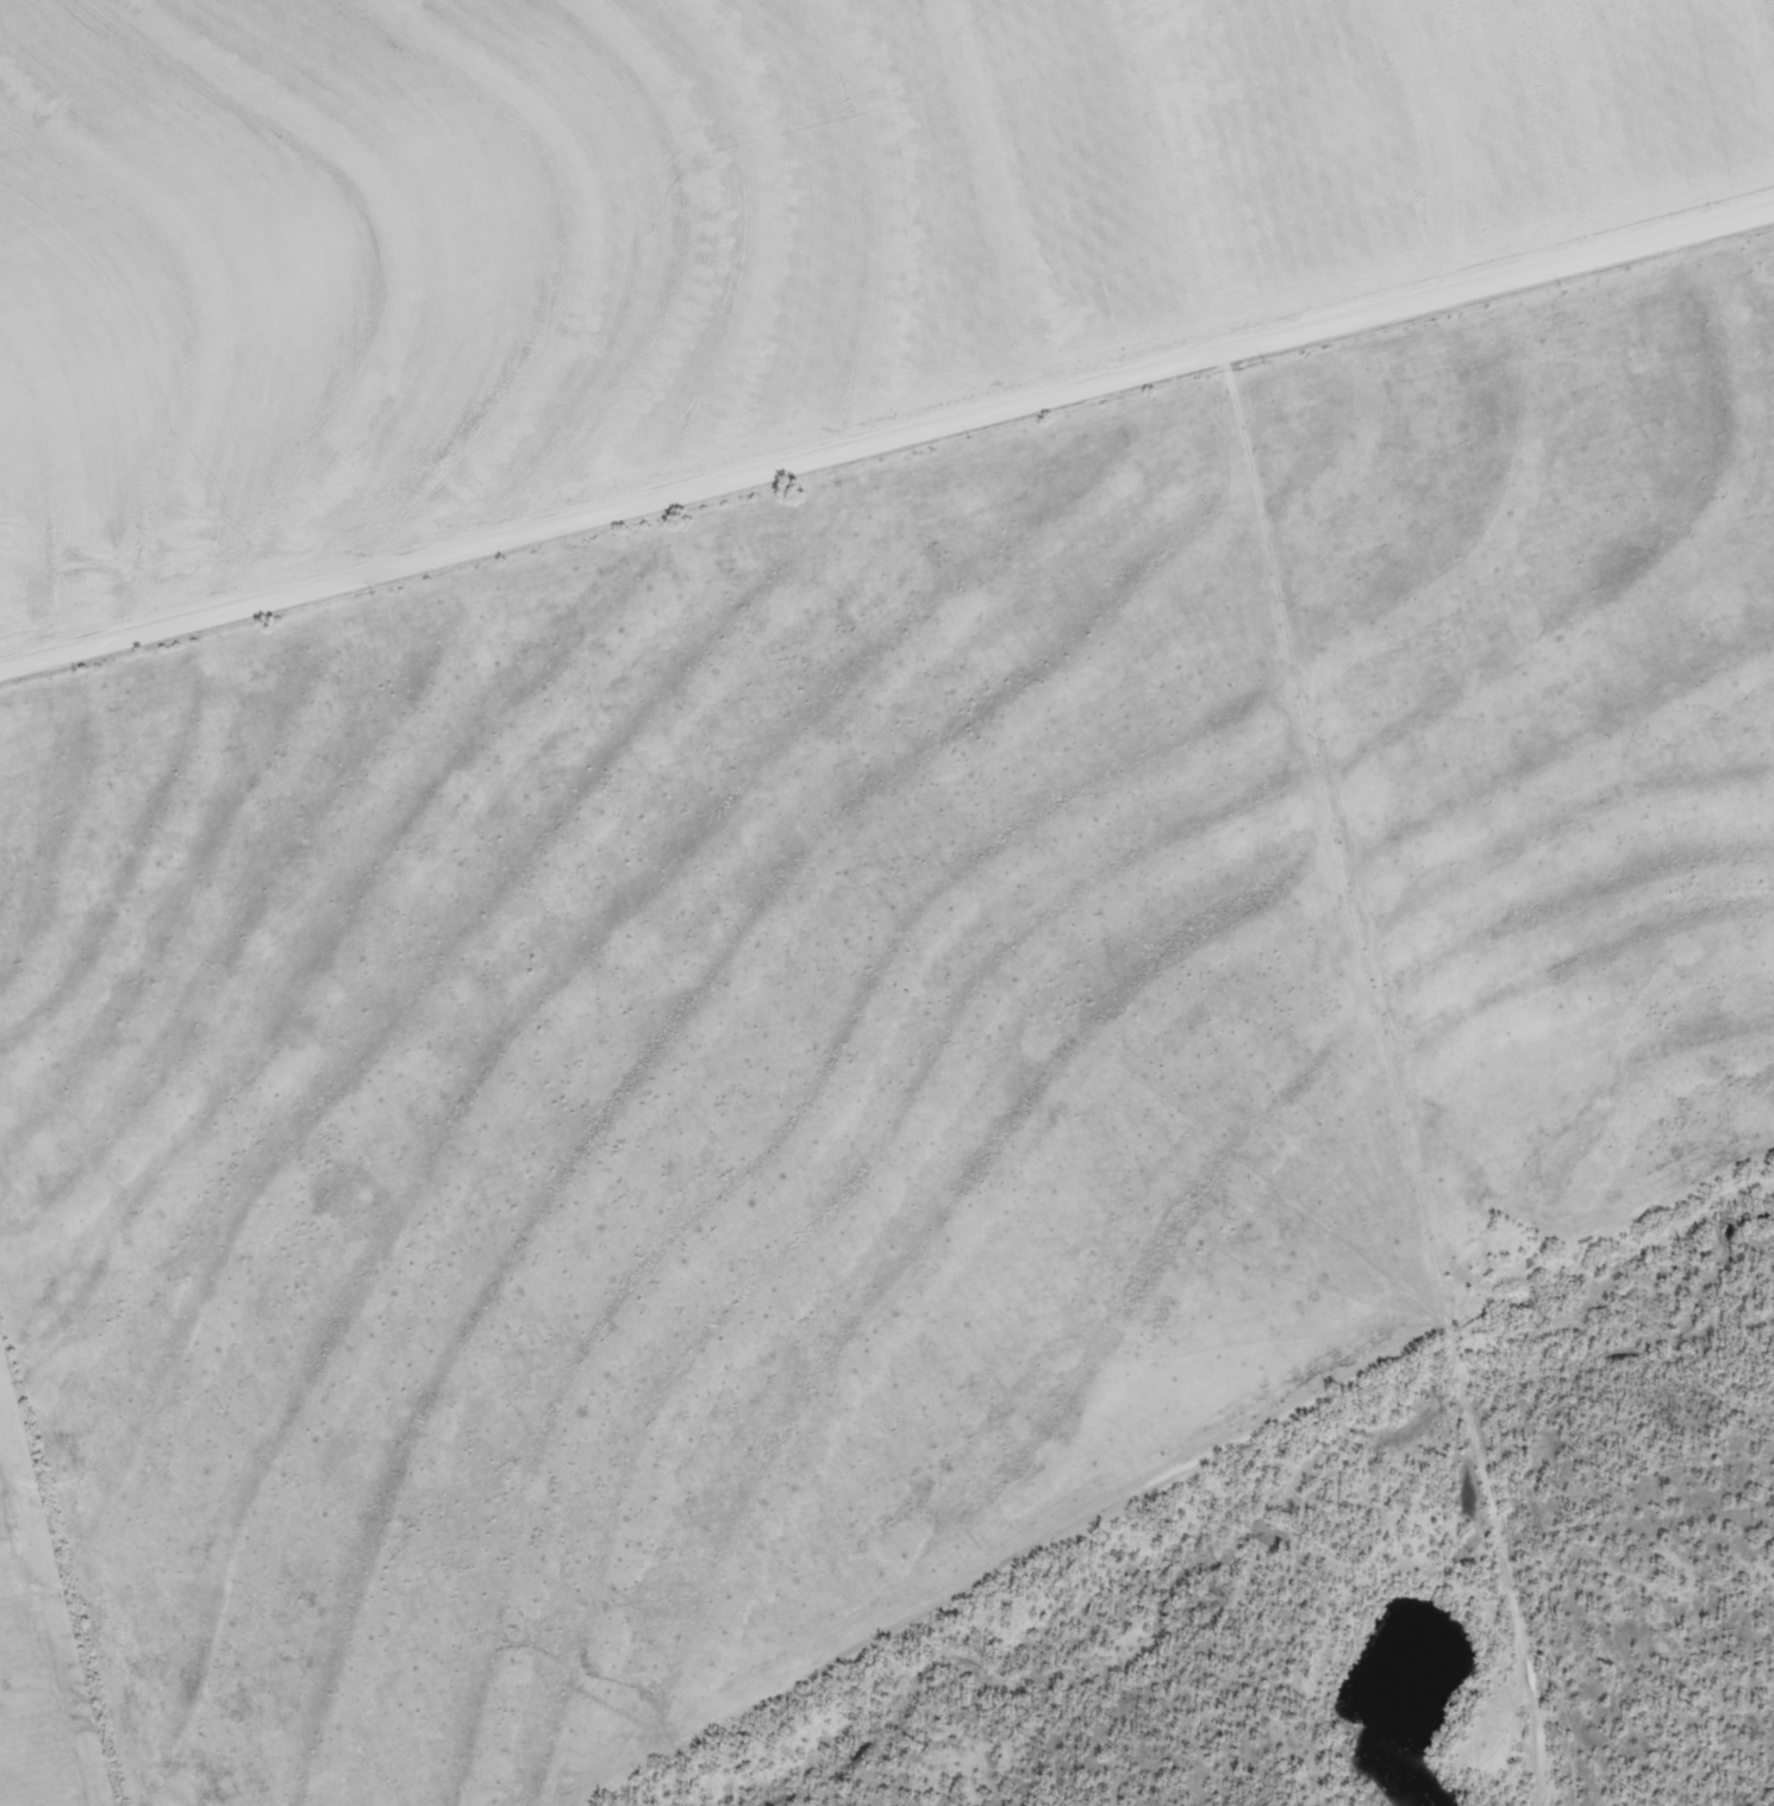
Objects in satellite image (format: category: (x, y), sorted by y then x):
road: (887, 470)

